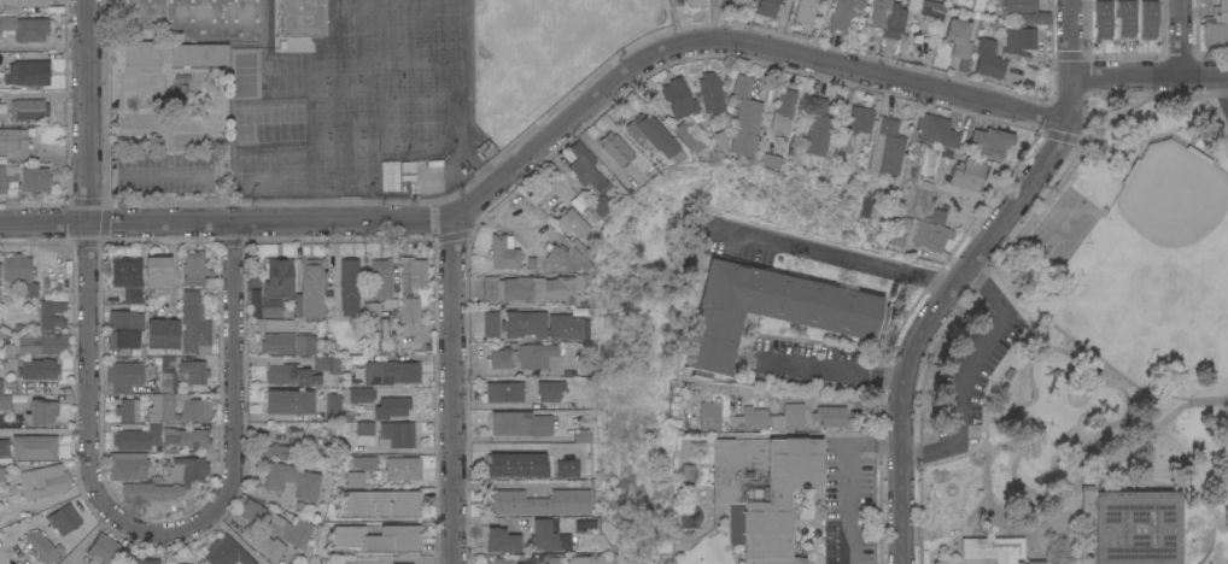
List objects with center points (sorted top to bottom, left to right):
building: (694, 2)
building: (1227, 2)
building: (19, 4)
building: (764, 7)
building: (932, 8)
building: (809, 10)
building: (1027, 11)
building: (188, 13)
building: (841, 13)
building: (1124, 17)
building: (300, 18)
building: (887, 18)
building: (1103, 18)
building: (1147, 18)
building: (1216, 25)
building: (25, 28)
building: (1019, 36)
road: (1182, 37)
road: (1071, 39)
building: (959, 40)
building: (199, 54)
building: (142, 57)
building: (988, 58)
building: (27, 72)
road: (1150, 75)
road: (1222, 88)
building: (708, 92)
building: (676, 98)
building: (28, 108)
building: (780, 111)
building: (741, 117)
building: (858, 118)
building: (814, 127)
building: (936, 130)
building: (684, 136)
building: (13, 139)
building: (648, 139)
building: (990, 140)
road: (543, 146)
building: (884, 146)
building: (485, 148)
building: (619, 151)
road: (1078, 161)
building: (581, 165)
building: (408, 169)
building: (969, 174)
building: (393, 175)
building: (8, 178)
building: (33, 178)
building: (597, 205)
building: (578, 211)
building: (937, 215)
building: (569, 221)
building: (929, 235)
building: (503, 252)
building: (552, 252)
road: (828, 254)
building: (16, 268)
building: (193, 269)
building: (157, 271)
building: (411, 272)
building: (128, 276)
building: (279, 277)
building: (381, 278)
road: (88, 286)
building: (349, 288)
building: (526, 288)
building: (30, 289)
building: (310, 290)
road: (940, 304)
building: (270, 307)
building: (409, 310)
building: (770, 310)
building: (51, 313)
building: (124, 318)
building: (275, 323)
building: (490, 323)
building: (521, 323)
building: (194, 324)
building: (561, 327)
building: (162, 336)
building: (123, 339)
building: (36, 341)
building: (277, 342)
building: (305, 345)
building: (475, 351)
building: (532, 354)
building: (502, 358)
park: (1094, 362)
road: (1095, 364)
building: (39, 369)
building: (192, 369)
building: (299, 369)
road: (965, 369)
road: (831, 371)
building: (390, 372)
building: (168, 375)
building: (123, 376)
building: (1, 386)
building: (545, 389)
building: (503, 390)
road: (452, 392)
building: (357, 394)
road: (1209, 395)
building: (11, 399)
road: (806, 399)
road: (234, 400)
building: (288, 401)
building: (186, 406)
building: (333, 406)
building: (391, 406)
building: (153, 407)
building: (127, 410)
building: (41, 412)
building: (830, 415)
building: (788, 417)
building: (706, 418)
building: (749, 419)
building: (517, 423)
building: (363, 427)
building: (577, 435)
building: (186, 436)
building: (394, 436)
building: (136, 437)
building: (34, 446)
building: (514, 447)
building: (2, 450)
building: (275, 451)
building: (508, 459)
building: (364, 462)
building: (127, 465)
building: (552, 466)
building: (403, 468)
building: (187, 469)
building: (2, 474)
road: (846, 474)
building: (351, 478)
building: (293, 480)
building: (41, 481)
building: (766, 488)
building: (150, 490)
building: (534, 501)
building: (380, 504)
building: (64, 518)
building: (279, 525)
building: (1129, 527)
road: (1007, 528)
building: (539, 535)
road: (234, 539)
building: (375, 539)
building: (499, 540)
building: (264, 544)
building: (43, 546)
building: (103, 548)
building: (996, 550)
building: (226, 552)
building: (580, 559)
building: (147, 560)
building: (501, 560)
building: (402, 563)
building: (533, 563)

